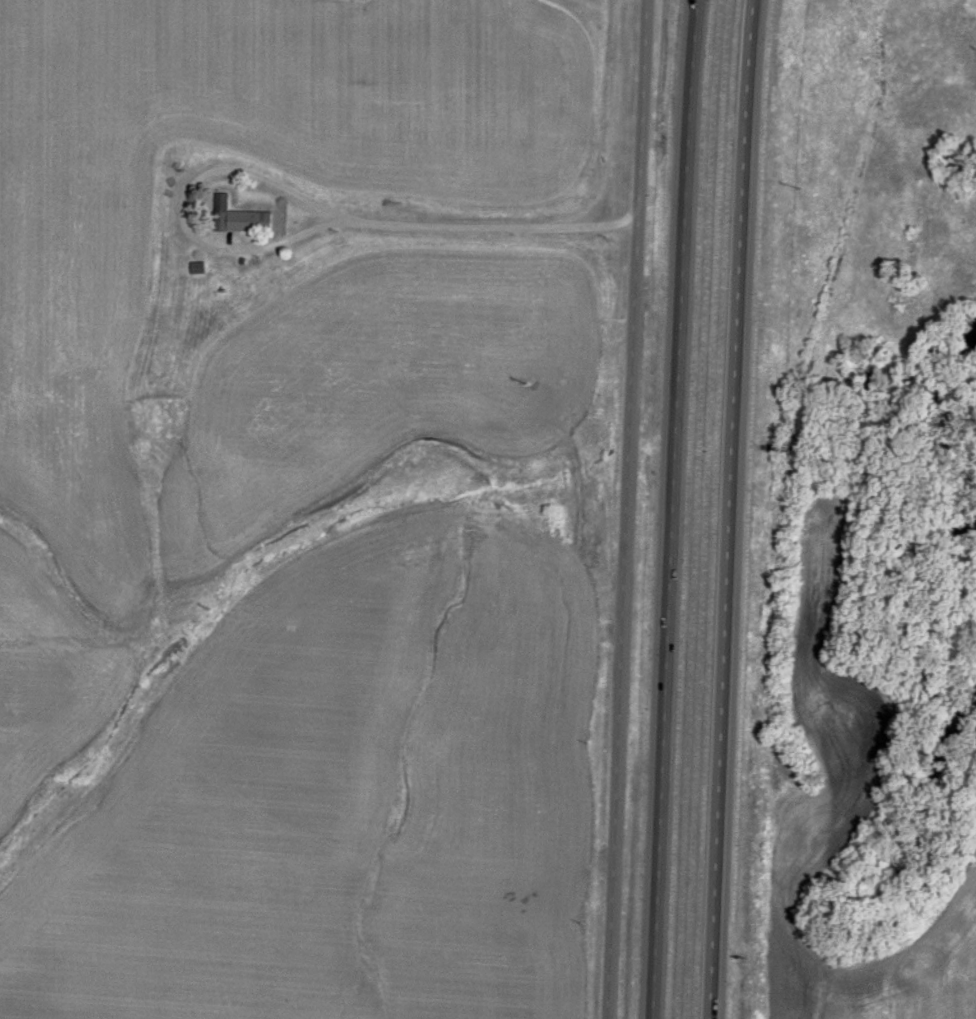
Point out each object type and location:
road: (616, 117)
road: (179, 214)
building: (241, 218)
road: (470, 229)
building: (198, 268)
road: (674, 509)
road: (732, 509)
road: (595, 627)

